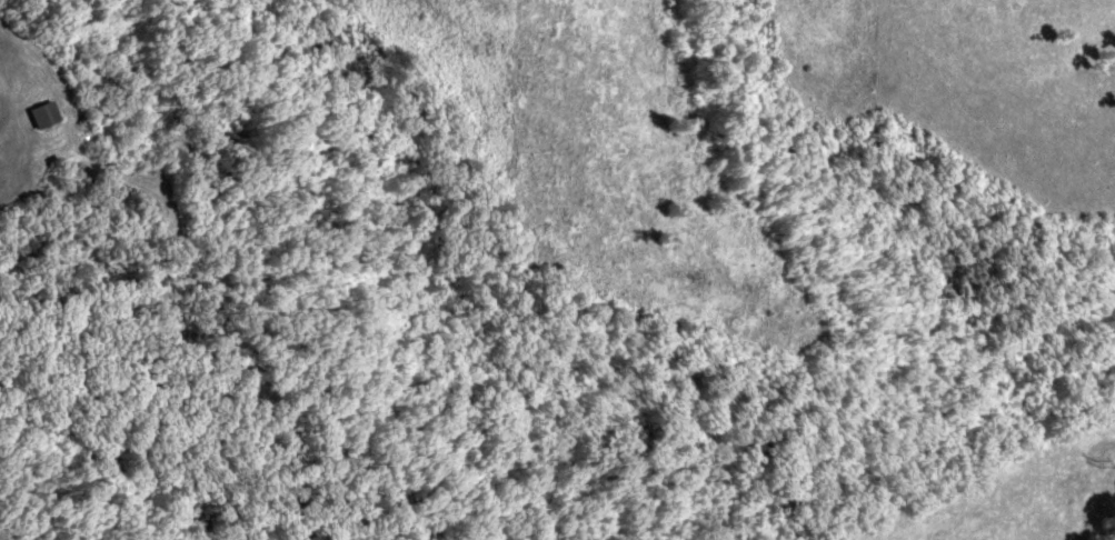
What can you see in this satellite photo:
building: (44, 114)

